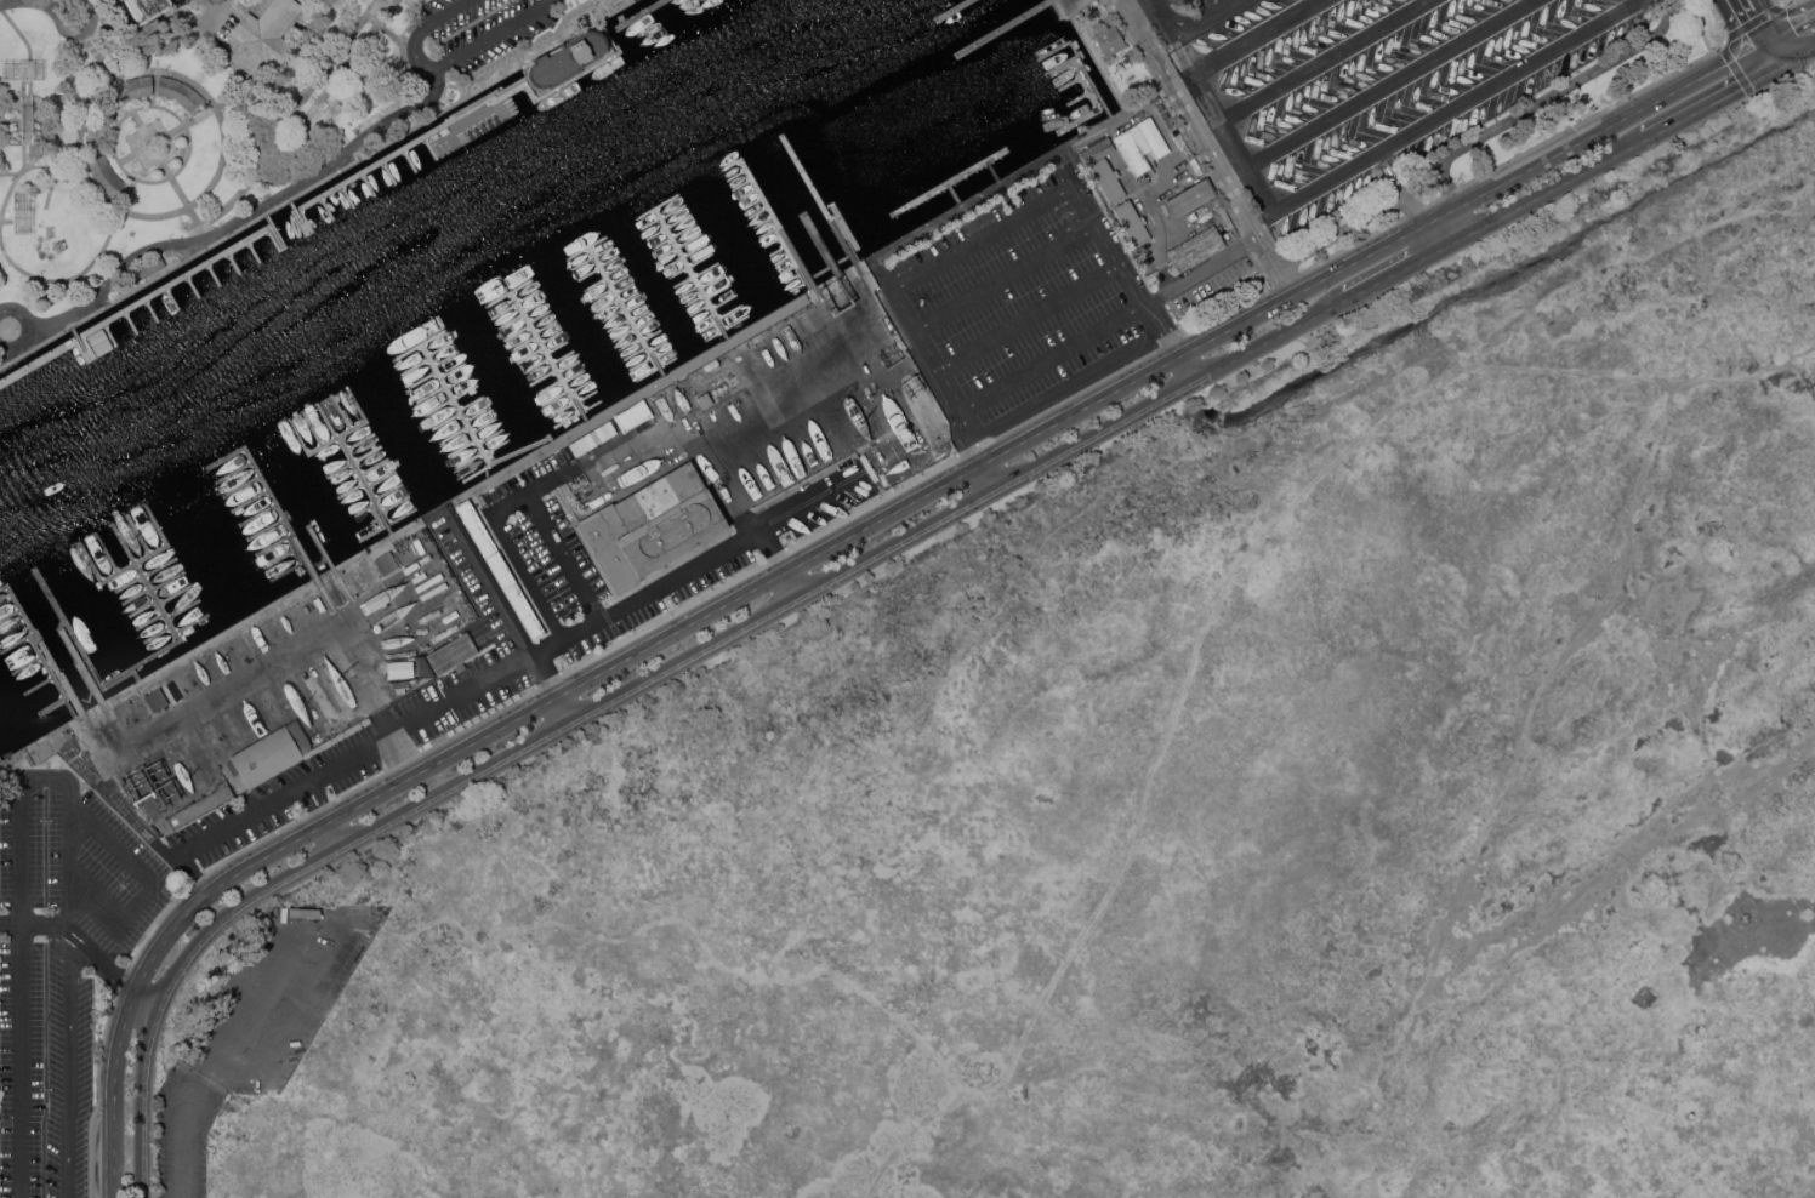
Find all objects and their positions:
road: (1156, 0)
parking lot: (181, 2)
road: (29, 4)
road: (1787, 4)
building: (147, 8)
pier: (956, 11)
pier: (642, 13)
road: (1163, 15)
parking lot: (1184, 16)
road: (1769, 16)
road: (1210, 19)
road: (1797, 22)
road: (1741, 23)
road: (58, 25)
road: (1696, 25)
pier: (1005, 29)
road: (388, 32)
parking lot: (472, 32)
traffic signals: (1779, 33)
building: (264, 35)
road: (1259, 36)
road: (1728, 38)
building: (1109, 39)
road: (1766, 40)
road: (1786, 45)
traffic signals: (1756, 47)
road: (1804, 50)
road: (99, 56)
traffic signals: (1793, 57)
road: (1762, 58)
road: (449, 59)
building: (564, 59)
road: (1325, 59)
pier: (1081, 63)
road: (1781, 63)
pier: (1062, 64)
traffic signals: (1769, 70)
pier: (1074, 81)
road: (1393, 84)
road: (154, 87)
building: (130, 89)
road: (329, 89)
building: (178, 91)
pier: (1082, 97)
road: (1544, 98)
road: (155, 104)
road: (1706, 104)
road: (104, 112)
road: (297, 113)
road: (289, 116)
pier: (1082, 119)
road: (1190, 120)
park: (211, 124)
road: (141, 125)
building: (97, 126)
road: (1605, 126)
building: (1153, 136)
building: (1139, 137)
road: (152, 139)
pier: (410, 142)
pier: (428, 147)
building: (1097, 149)
road: (133, 150)
building: (1131, 152)
pier: (745, 155)
pier: (408, 159)
pier: (763, 159)
road: (1367, 159)
pier: (770, 170)
pier: (994, 170)
pier: (387, 171)
road: (317, 173)
building: (104, 176)
pier: (739, 176)
building: (1106, 178)
pier: (366, 182)
pier: (776, 182)
pier: (949, 182)
road: (1554, 186)
pier: (746, 187)
pier: (783, 193)
pier: (954, 193)
pier: (346, 194)
building: (1191, 196)
pier: (752, 199)
pier: (789, 204)
pier: (325, 206)
pier: (655, 209)
pier: (758, 210)
road: (131, 212)
pier: (297, 215)
pier: (796, 215)
building: (1223, 215)
road: (1439, 215)
building: (1332, 216)
pier: (661, 217)
pier: (783, 219)
road: (1461, 219)
pier: (764, 221)
road: (0, 222)
building: (1132, 222)
pier: (802, 226)
road: (1353, 226)
pier: (272, 228)
pier: (666, 228)
pier: (808, 236)
road: (1429, 236)
pier: (672, 238)
road: (983, 238)
road: (1451, 241)
pier: (587, 247)
pier: (678, 247)
pier: (815, 247)
building: (1195, 247)
pier: (252, 249)
pier: (593, 256)
pier: (683, 256)
pier: (821, 258)
pier: (610, 259)
pier: (232, 261)
pier: (689, 266)
road: (1275, 267)
building: (146, 268)
pier: (615, 268)
pier: (829, 270)
road: (1200, 272)
pier: (211, 273)
pier: (590, 273)
pier: (692, 273)
road: (1390, 274)
pier: (620, 278)
road: (1005, 279)
pier: (684, 281)
pier: (596, 284)
pier: (190, 285)
pier: (626, 287)
pier: (786, 287)
pier: (758, 290)
road: (1301, 290)
pier: (690, 291)
building: (850, 291)
pier: (510, 292)
pier: (602, 293)
pier: (631, 296)
pier: (171, 297)
pier: (695, 301)
building: (827, 302)
pier: (517, 303)
pier: (135, 304)
pier: (536, 306)
pier: (608, 306)
pier: (637, 306)
parking lot: (1020, 307)
pier: (150, 309)
pier: (700, 309)
pier: (626, 310)
pier: (642, 314)
pier: (541, 315)
pier: (614, 315)
pier: (705, 318)
road: (1029, 319)
pier: (130, 320)
pier: (744, 320)
pier: (512, 321)
pier: (647, 324)
pier: (547, 325)
pier: (620, 325)
road: (23, 326)
pier: (710, 326)
road: (1162, 327)
pier: (518, 332)
pier: (107, 333)
pier: (654, 333)
pier: (625, 335)
pier: (553, 337)
road: (1269, 340)
pier: (78, 342)
pier: (525, 343)
pier: (631, 343)
pier: (419, 344)
pier: (659, 344)
pier: (559, 346)
pier: (442, 348)
road: (7, 354)
pier: (531, 354)
pier: (636, 354)
pier: (550, 355)
pier: (564, 355)
road: (1051, 358)
pier: (653, 359)
pier: (537, 365)
pier: (416, 366)
pier: (570, 366)
road: (1185, 367)
pier: (454, 369)
pier: (658, 370)
road: (1631, 373)
pier: (544, 376)
pier: (575, 376)
pier: (423, 380)
pier: (460, 380)
pier: (550, 387)
pier: (584, 389)
pier: (431, 393)
pier: (451, 398)
pier: (556, 398)
pier: (588, 398)
building: (705, 399)
pier: (472, 401)
pier: (459, 407)
pier: (563, 409)
road: (1081, 409)
pier: (341, 412)
pier: (479, 412)
pier: (580, 415)
building: (632, 415)
pier: (328, 420)
pier: (446, 421)
pier: (485, 424)
pier: (313, 428)
pier: (454, 434)
road: (1096, 434)
pier: (491, 435)
pier: (338, 437)
road: (971, 437)
pier: (362, 441)
building: (584, 444)
pier: (461, 447)
pier: (497, 447)
pier: (354, 461)
pier: (468, 461)
pier: (375, 466)
pier: (490, 467)
pier: (234, 472)
road: (991, 474)
pier: (382, 479)
pier: (366, 485)
pier: (243, 486)
pier: (352, 490)
pier: (388, 491)
pier: (271, 494)
pier: (251, 501)
pier: (396, 503)
pier: (365, 509)
pier: (258, 514)
road: (886, 515)
pier: (388, 524)
building: (652, 524)
pier: (267, 529)
pier: (138, 534)
road: (501, 537)
road: (806, 541)
road: (900, 541)
pier: (274, 544)
pier: (322, 547)
pier: (107, 552)
pier: (281, 557)
road: (564, 557)
building: (386, 561)
pier: (135, 563)
pier: (289, 570)
pier: (147, 574)
building: (346, 574)
road: (670, 582)
road: (795, 582)
road: (495, 586)
pier: (154, 587)
pier: (176, 594)
pier: (143, 609)
pier: (184, 609)
pier: (10, 614)
pier: (150, 621)
pier: (193, 623)
road: (672, 633)
pier: (158, 634)
parking lot: (483, 640)
pier: (17, 641)
pier: (41, 645)
road: (1703, 651)
building: (453, 652)
road: (687, 657)
pier: (29, 663)
pier: (142, 663)
pier: (81, 666)
pier: (136, 674)
road: (546, 675)
road: (365, 680)
road: (238, 683)
pier: (41, 684)
building: (157, 698)
pier: (56, 704)
road: (1534, 704)
road: (564, 708)
road: (419, 718)
road: (18, 753)
building: (269, 753)
road: (442, 759)
road: (455, 782)
road: (306, 783)
road: (1145, 783)
road: (318, 794)
road: (308, 799)
building: (198, 806)
road: (323, 815)
road: (240, 817)
road: (334, 833)
road: (154, 884)
road: (23, 892)
road: (82, 909)
road: (682, 919)
road: (85, 946)
parking lot: (61, 963)
road: (146, 966)
road: (170, 981)
parking lot: (255, 1026)
road: (281, 1033)
road: (211, 1059)
road: (69, 1062)

